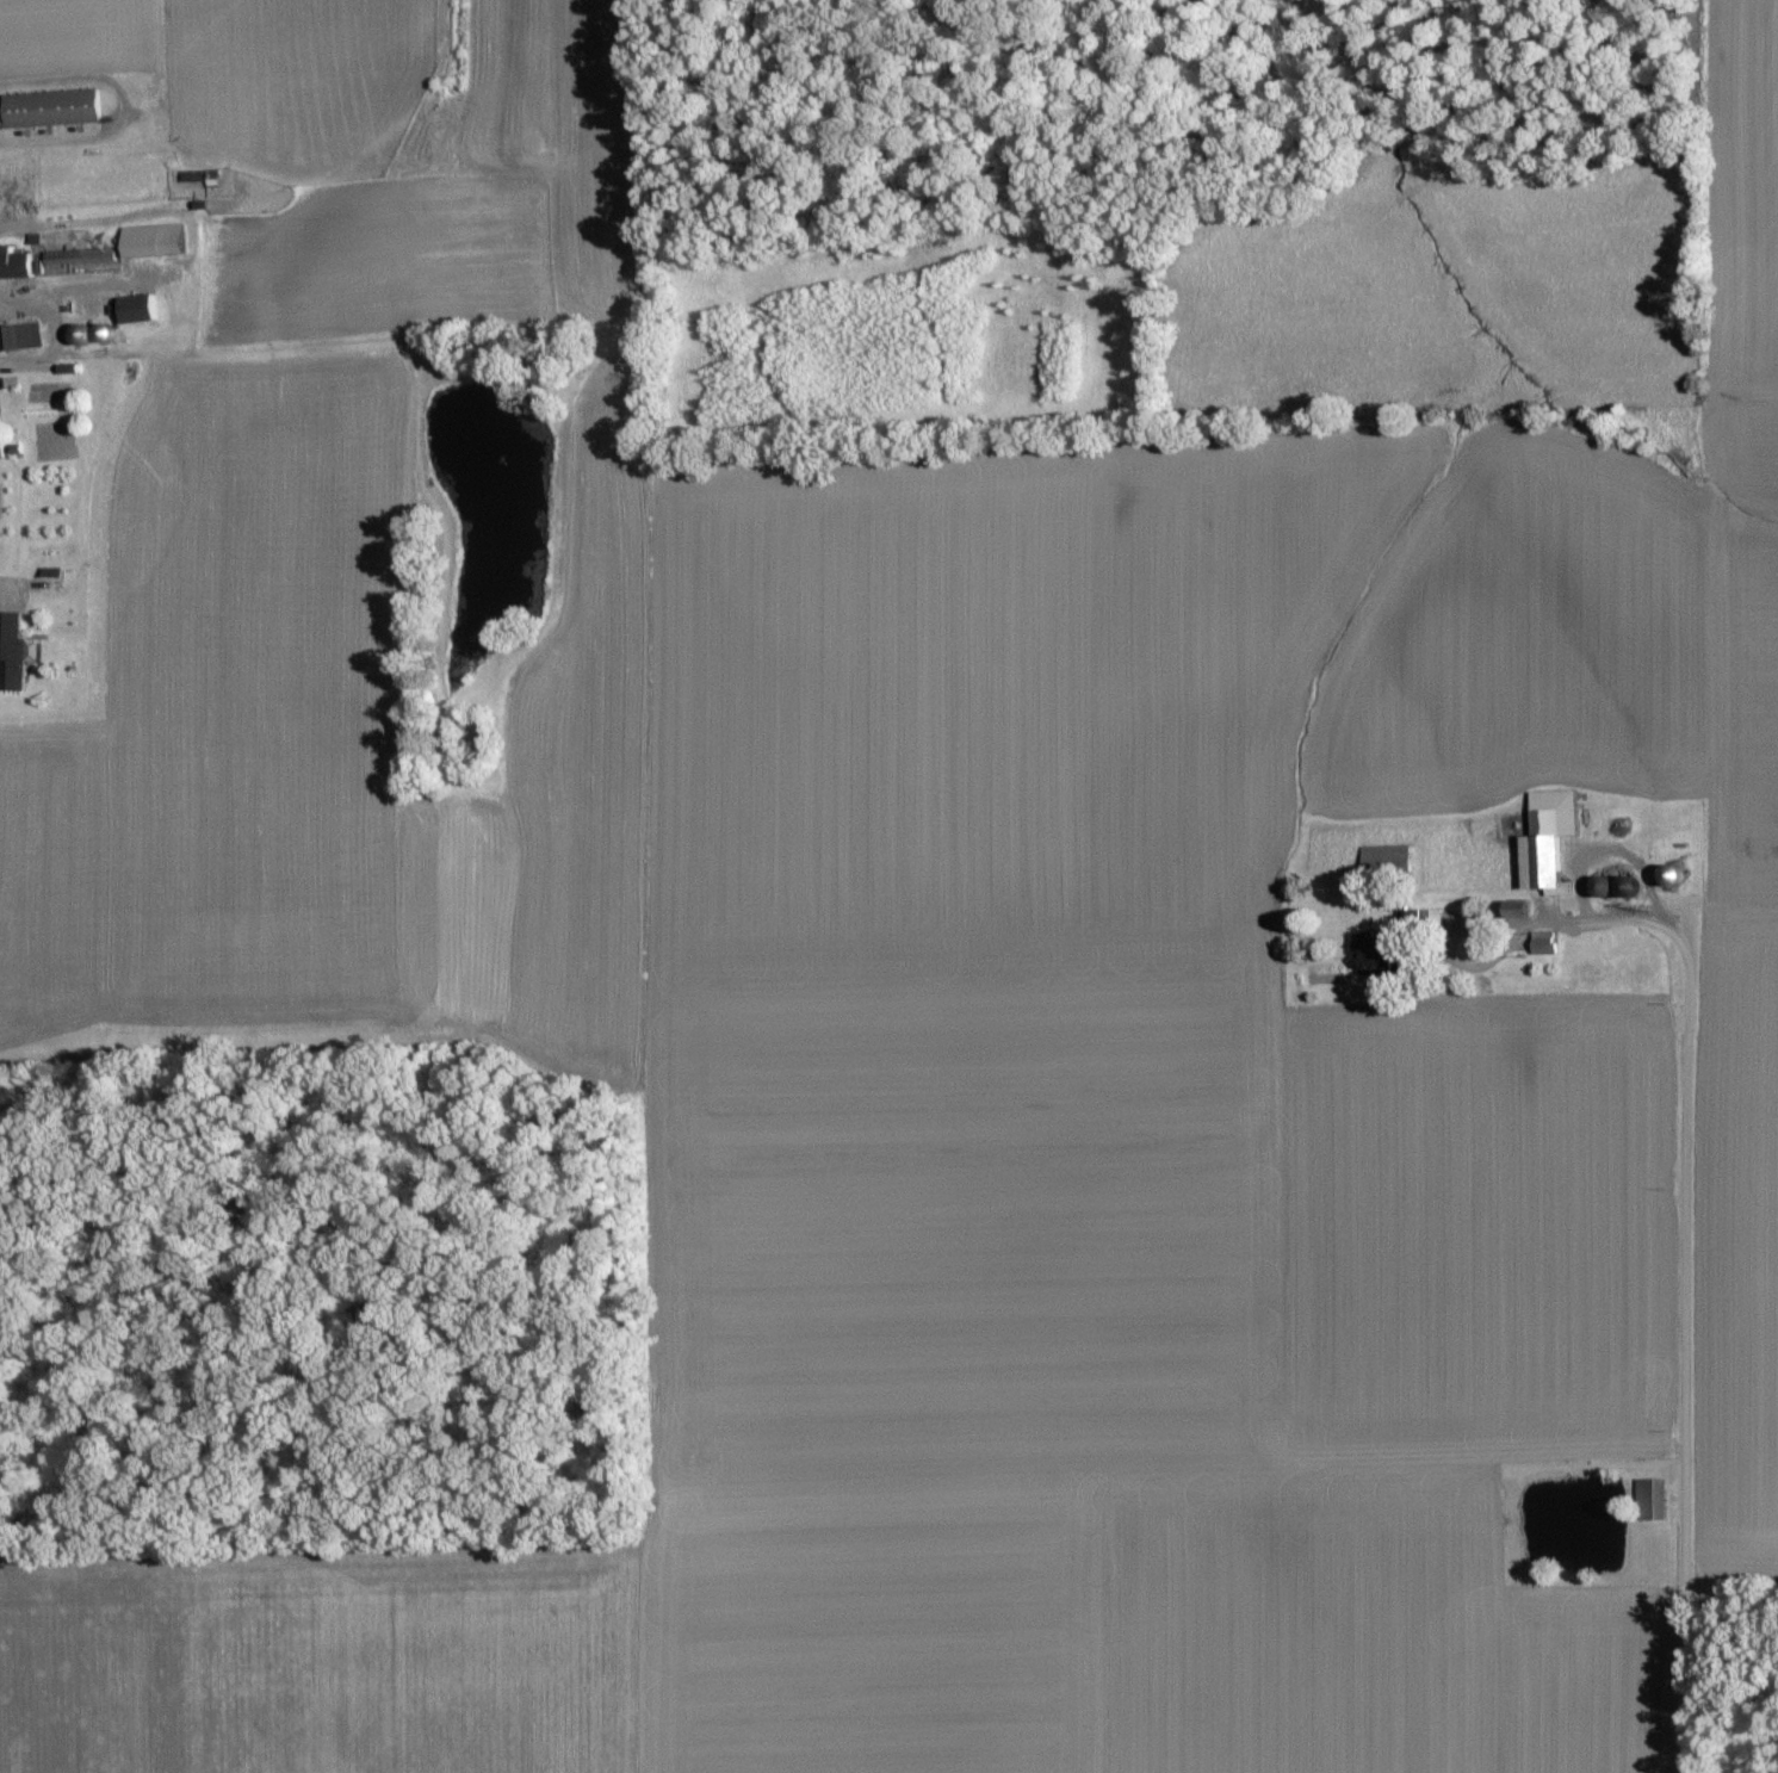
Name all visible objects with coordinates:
building: (48, 109)
building: (149, 242)
building: (75, 256)
building: (16, 265)
building: (134, 310)
building: (17, 337)
building: (47, 574)
road: (17, 593)
building: (12, 655)
building: (1545, 842)
building: (1382, 861)
building: (1513, 911)
building: (1540, 944)
building: (1370, 957)
road: (1686, 1251)
building: (1647, 1500)

